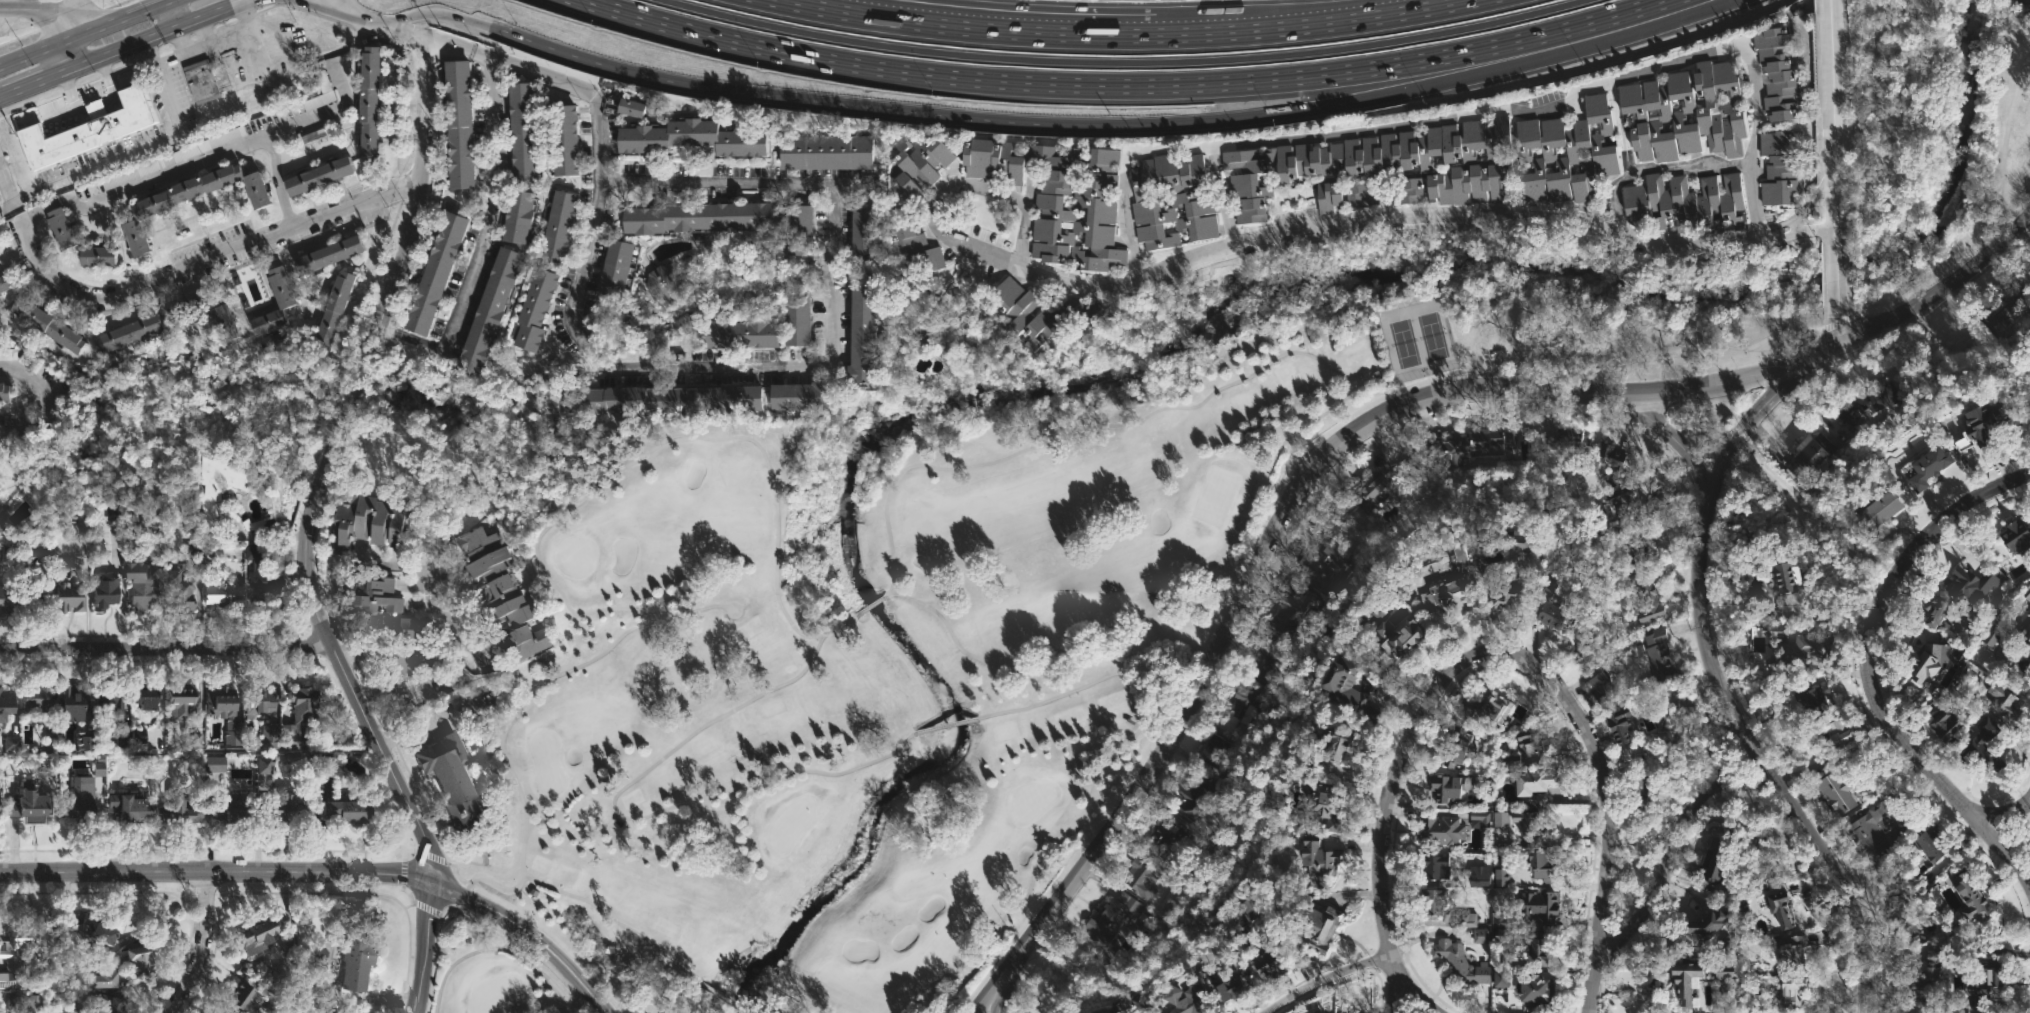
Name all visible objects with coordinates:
road: (279, 2)
building: (2022, 2)
road: (26, 4)
road: (147, 7)
road: (348, 7)
road: (338, 8)
road: (322, 9)
road: (171, 12)
road: (439, 13)
road: (1666, 14)
road: (54, 15)
road: (76, 16)
road: (371, 19)
road: (1304, 24)
road: (98, 26)
road: (963, 27)
road: (433, 33)
road: (143, 38)
road: (35, 51)
road: (139, 62)
road: (1125, 62)
building: (1777, 71)
building: (202, 80)
road: (576, 81)
road: (1121, 85)
road: (28, 86)
road: (750, 92)
road: (4, 96)
road: (1575, 96)
building: (367, 102)
building: (628, 106)
road: (1335, 106)
building: (1686, 112)
road: (1831, 114)
road: (319, 119)
building: (456, 124)
building: (88, 129)
building: (520, 132)
building: (690, 137)
building: (562, 139)
road: (2006, 143)
road: (139, 148)
building: (824, 151)
road: (1152, 151)
building: (1567, 153)
building: (1357, 158)
building: (990, 159)
road: (198, 165)
building: (916, 165)
building: (1780, 167)
road: (1656, 169)
building: (316, 175)
building: (1468, 184)
building: (1407, 189)
road: (988, 192)
building: (1361, 194)
building: (1329, 195)
road: (1812, 198)
building: (196, 199)
building: (1171, 200)
building: (1686, 202)
road: (6, 206)
building: (1075, 206)
building: (516, 215)
building: (701, 217)
road: (1796, 223)
building: (557, 225)
road: (1774, 225)
road: (1336, 228)
building: (68, 229)
building: (797, 230)
road: (1817, 230)
road: (485, 232)
building: (863, 235)
road: (1779, 236)
road: (833, 246)
building: (0, 249)
building: (916, 251)
building: (0, 254)
building: (326, 254)
building: (108, 255)
road: (1835, 264)
building: (613, 268)
road: (181, 271)
building: (433, 272)
building: (660, 282)
building: (6, 284)
building: (283, 285)
road: (1941, 295)
building: (2005, 308)
building: (533, 309)
building: (329, 310)
building: (487, 311)
building: (1021, 314)
building: (1086, 315)
building: (228, 320)
building: (795, 320)
road: (1837, 321)
building: (49, 323)
road: (386, 329)
building: (920, 332)
building: (128, 334)
building: (737, 334)
building: (861, 335)
park: (1417, 339)
road: (1826, 351)
building: (416, 357)
road: (1360, 384)
building: (7, 390)
road: (41, 392)
building: (696, 398)
building: (1870, 401)
building: (541, 405)
road: (1358, 409)
park: (1708, 421)
road: (1749, 421)
building: (1985, 424)
road: (10, 436)
building: (1570, 438)
road: (1671, 439)
building: (1467, 446)
road: (326, 451)
building: (1810, 455)
building: (1931, 467)
road: (605, 473)
building: (221, 484)
building: (1374, 489)
building: (1620, 490)
park: (1214, 496)
road: (1281, 511)
building: (1880, 513)
building: (116, 514)
building: (366, 522)
building: (2018, 536)
road: (234, 537)
building: (1520, 541)
building: (1637, 549)
park: (573, 555)
building: (1325, 558)
building: (1458, 560)
building: (265, 577)
building: (1790, 578)
building: (1513, 586)
building: (1973, 586)
building: (107, 590)
building: (69, 592)
building: (180, 592)
building: (500, 592)
building: (142, 593)
building: (1446, 594)
building: (2026, 594)
building: (226, 595)
building: (32, 598)
building: (1506, 598)
building: (5, 599)
building: (1647, 601)
building: (1383, 604)
road: (870, 605)
building: (378, 607)
building: (1937, 611)
building: (1290, 613)
road: (445, 614)
building: (2029, 614)
building: (1554, 616)
park: (963, 621)
road: (1829, 622)
building: (2026, 632)
building: (1991, 635)
building: (1407, 636)
building: (1816, 647)
road: (167, 650)
building: (1659, 654)
building: (1261, 658)
building: (1929, 663)
road: (1868, 672)
building: (2017, 673)
building: (1600, 684)
building: (1347, 691)
building: (1815, 694)
building: (149, 698)
building: (184, 699)
building: (38, 700)
building: (258, 700)
building: (117, 702)
building: (74, 703)
building: (2006, 703)
building: (8, 704)
building: (1243, 708)
building: (1487, 710)
building: (228, 711)
road: (515, 714)
building: (299, 717)
road: (946, 725)
building: (1620, 725)
building: (1949, 727)
building: (269, 736)
building: (1842, 738)
building: (1530, 743)
building: (1338, 744)
building: (1455, 747)
building: (1213, 751)
building: (1978, 752)
road: (1760, 761)
park: (545, 762)
building: (213, 764)
road: (1096, 778)
building: (449, 780)
building: (1448, 788)
building: (1536, 788)
building: (1645, 789)
building: (1838, 793)
building: (1199, 797)
park: (1031, 800)
building: (78, 802)
building: (130, 803)
building: (32, 804)
building: (1, 805)
building: (1325, 805)
building: (283, 808)
road: (1605, 808)
road: (1386, 809)
building: (226, 810)
road: (1999, 811)
building: (174, 812)
road: (616, 812)
building: (347, 813)
building: (1480, 817)
building: (1501, 819)
park: (788, 824)
building: (1527, 824)
building: (1444, 832)
building: (1871, 832)
building: (1165, 835)
road: (1669, 841)
building: (1931, 845)
building: (1715, 855)
building: (1317, 861)
building: (1436, 866)
building: (1542, 866)
road: (213, 871)
building: (1139, 873)
building: (1479, 876)
building: (1502, 876)
road: (461, 896)
road: (583, 899)
building: (1971, 899)
building: (1433, 900)
building: (1249, 905)
building: (1539, 906)
building: (1781, 909)
building: (1903, 912)
building: (1110, 919)
building: (1460, 920)
road: (484, 922)
building: (1708, 922)
building: (1504, 924)
road: (527, 928)
building: (101, 929)
building: (1318, 930)
building: (262, 934)
building: (1481, 936)
road: (551, 939)
road: (199, 946)
road: (426, 947)
building: (1541, 948)
building: (1791, 951)
building: (19, 954)
road: (433, 955)
building: (1932, 957)
building: (145, 958)
building: (355, 961)
road: (453, 962)
building: (1267, 963)
building: (1461, 963)
road: (535, 970)
building: (1725, 972)
building: (1686, 978)
road: (1323, 979)
building: (1502, 979)
building: (104, 981)
building: (1988, 981)
building: (1918, 983)
building: (1228, 987)
building: (1536, 989)
road: (989, 991)
building: (1793, 991)
park: (492, 993)
road: (1410, 995)
building: (238, 997)
road: (722, 997)
building: (1183, 1000)
building: (27, 1001)
building: (112, 1004)
building: (222, 1009)
building: (1099, 1010)
building: (322, 1012)
building: (1164, 1012)

